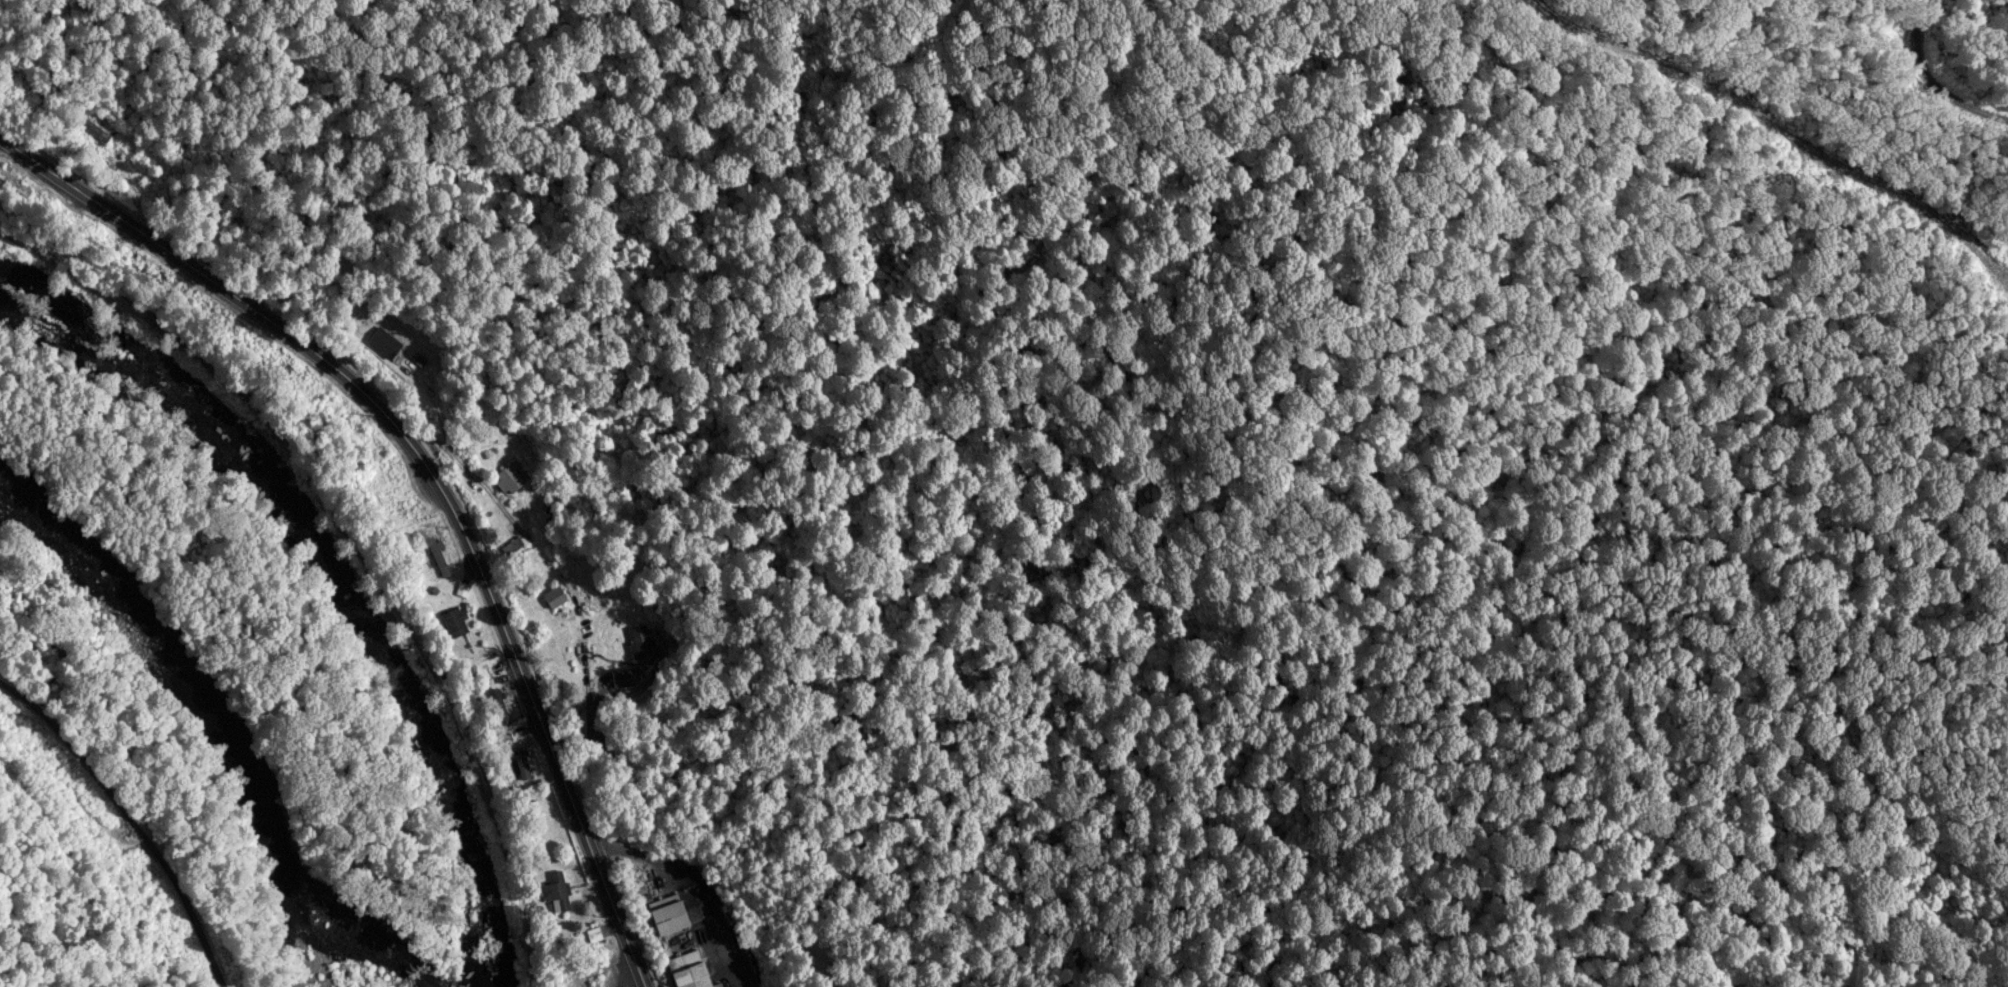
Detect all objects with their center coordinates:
building: (98, 127)
building: (16, 179)
building: (389, 339)
road: (433, 471)
building: (514, 476)
road: (358, 552)
building: (442, 555)
building: (558, 594)
building: (459, 619)
building: (643, 640)
building: (624, 675)
river: (178, 742)
building: (523, 761)
road: (133, 819)
road: (690, 885)
building: (562, 888)
building: (673, 915)
building: (693, 968)
building: (585, 977)

